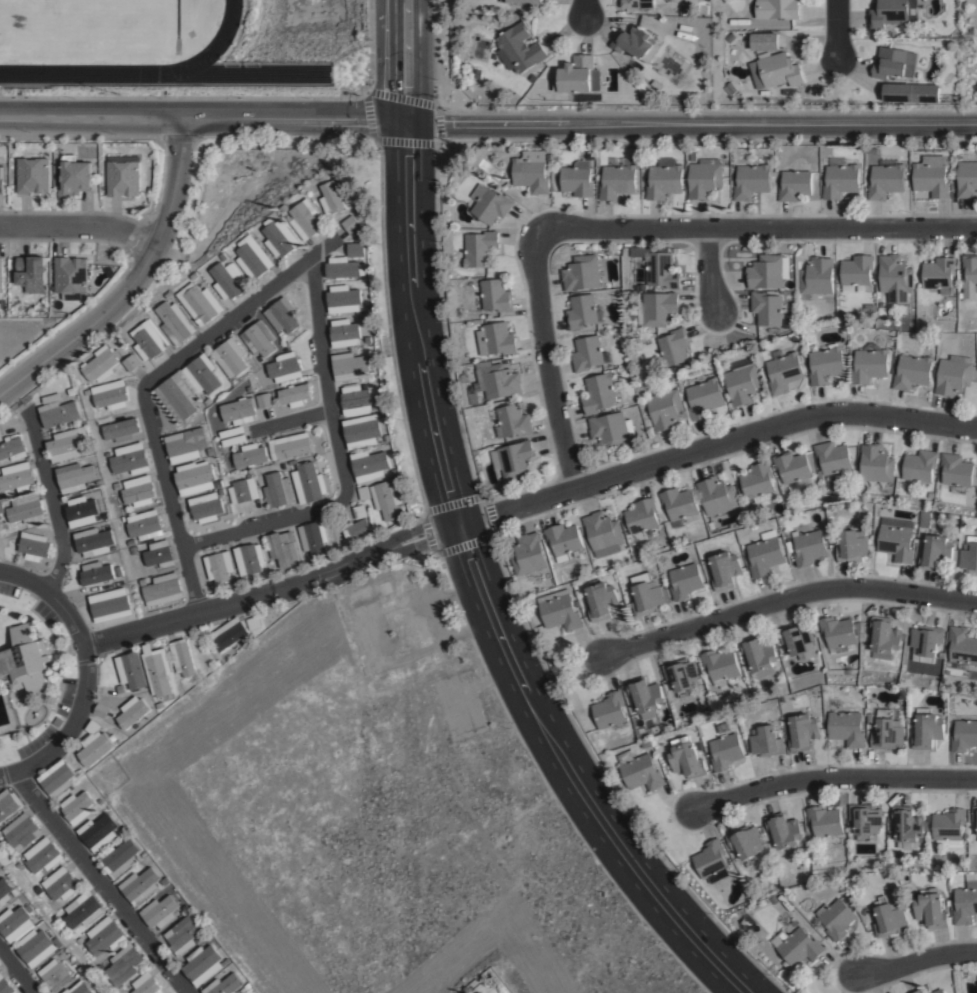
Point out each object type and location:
building: (515, 0)
building: (538, 3)
building: (638, 3)
building: (777, 8)
road: (583, 9)
building: (913, 10)
building: (888, 13)
road: (836, 28)
track: (109, 35)
building: (764, 40)
building: (636, 42)
building: (519, 48)
road: (413, 61)
building: (894, 62)
building: (669, 68)
building: (775, 71)
track: (246, 75)
building: (574, 75)
building: (912, 92)
road: (204, 121)
road: (693, 122)
building: (692, 156)
building: (531, 171)
building: (33, 175)
building: (76, 175)
building: (124, 175)
building: (931, 176)
building: (578, 178)
building: (618, 178)
building: (704, 178)
building: (839, 178)
building: (1, 179)
building: (664, 179)
building: (886, 179)
building: (967, 179)
building: (751, 181)
building: (795, 183)
building: (335, 198)
building: (490, 204)
building: (286, 207)
building: (307, 219)
building: (352, 223)
road: (79, 226)
road: (759, 229)
building: (281, 237)
building: (479, 248)
building: (357, 249)
building: (225, 257)
building: (254, 257)
building: (345, 267)
building: (660, 270)
building: (768, 272)
building: (32, 273)
building: (582, 273)
building: (856, 273)
building: (1, 274)
building: (71, 274)
building: (939, 274)
road: (711, 275)
building: (970, 276)
building: (816, 277)
building: (895, 278)
building: (229, 280)
road: (132, 283)
building: (495, 296)
building: (344, 299)
building: (200, 302)
building: (658, 309)
building: (767, 309)
building: (584, 311)
building: (281, 315)
building: (176, 322)
building: (345, 333)
building: (259, 339)
building: (496, 339)
building: (149, 340)
building: (672, 347)
building: (950, 349)
building: (589, 354)
building: (230, 358)
building: (260, 358)
road: (546, 362)
building: (131, 363)
building: (826, 364)
building: (870, 364)
building: (101, 365)
building: (351, 366)
building: (285, 367)
building: (784, 372)
building: (912, 372)
building: (202, 374)
building: (954, 375)
building: (497, 380)
road: (147, 383)
building: (743, 383)
building: (250, 389)
building: (468, 389)
building: (72, 391)
building: (87, 393)
building: (600, 394)
building: (110, 395)
building: (296, 395)
building: (473, 396)
building: (176, 397)
building: (51, 398)
building: (703, 399)
building: (356, 400)
building: (265, 401)
building: (666, 409)
building: (240, 411)
building: (58, 413)
building: (511, 422)
road: (290, 423)
building: (121, 427)
building: (612, 430)
building: (9, 431)
building: (363, 431)
building: (388, 439)
building: (67, 444)
building: (187, 445)
road: (714, 445)
building: (292, 446)
building: (13, 450)
building: (90, 451)
building: (251, 456)
building: (130, 459)
building: (516, 459)
building: (832, 460)
building: (293, 463)
road: (340, 464)
building: (373, 464)
building: (876, 464)
building: (284, 467)
building: (919, 467)
building: (792, 468)
building: (956, 471)
building: (395, 472)
building: (819, 476)
building: (75, 477)
building: (18, 478)
building: (195, 478)
building: (309, 483)
building: (502, 483)
building: (757, 483)
building: (219, 484)
building: (244, 490)
building: (278, 491)
building: (138, 492)
building: (365, 493)
building: (716, 496)
building: (389, 499)
road: (51, 503)
building: (678, 504)
building: (207, 508)
building: (27, 509)
building: (82, 512)
building: (360, 512)
building: (105, 516)
building: (641, 516)
building: (144, 526)
building: (357, 530)
building: (604, 532)
building: (314, 539)
building: (896, 540)
building: (563, 541)
building: (95, 542)
building: (833, 543)
building: (35, 547)
building: (807, 547)
building: (852, 547)
building: (114, 549)
building: (284, 550)
building: (936, 553)
building: (159, 555)
building: (765, 555)
building: (969, 556)
building: (529, 557)
building: (250, 559)
building: (219, 567)
building: (724, 571)
building: (96, 573)
building: (547, 575)
building: (684, 582)
road: (271, 588)
building: (384, 589)
building: (162, 591)
road: (483, 594)
building: (646, 595)
road: (783, 599)
building: (602, 602)
building: (111, 606)
building: (559, 611)
building: (253, 624)
building: (838, 634)
building: (228, 635)
building: (885, 638)
building: (797, 639)
building: (926, 641)
building: (961, 647)
building: (183, 658)
building: (757, 658)
building: (27, 662)
building: (217, 664)
building: (721, 668)
building: (131, 669)
building: (157, 671)
road: (85, 675)
building: (683, 677)
building: (644, 698)
building: (160, 706)
building: (101, 711)
building: (608, 712)
building: (134, 713)
building: (57, 721)
building: (92, 728)
building: (847, 729)
building: (927, 731)
building: (888, 732)
building: (803, 733)
building: (964, 737)
building: (766, 743)
building: (646, 746)
building: (95, 748)
building: (725, 750)
building: (686, 760)
building: (639, 772)
building: (81, 773)
road: (829, 778)
building: (57, 780)
building: (101, 802)
building: (7, 806)
building: (78, 808)
building: (974, 819)
building: (865, 821)
building: (825, 825)
building: (948, 826)
building: (907, 829)
building: (784, 832)
building: (21, 833)
building: (98, 834)
building: (745, 844)
building: (42, 857)
building: (119, 860)
building: (711, 863)
building: (827, 883)
road: (101, 884)
building: (60, 886)
building: (142, 887)
building: (892, 889)
building: (5, 893)
building: (16, 893)
building: (966, 903)
building: (31, 910)
building: (83, 912)
building: (932, 913)
building: (160, 914)
building: (866, 916)
building: (54, 918)
building: (835, 920)
building: (889, 920)
building: (15, 925)
building: (184, 936)
building: (104, 938)
building: (796, 948)
building: (36, 949)
road: (918, 959)
building: (124, 966)
building: (203, 966)
road: (15, 973)
building: (55, 976)
building: (146, 985)
building: (5, 986)
building: (226, 986)
building: (249, 988)
building: (80, 989)
building: (918, 990)
building: (938, 990)
building: (120, 991)

